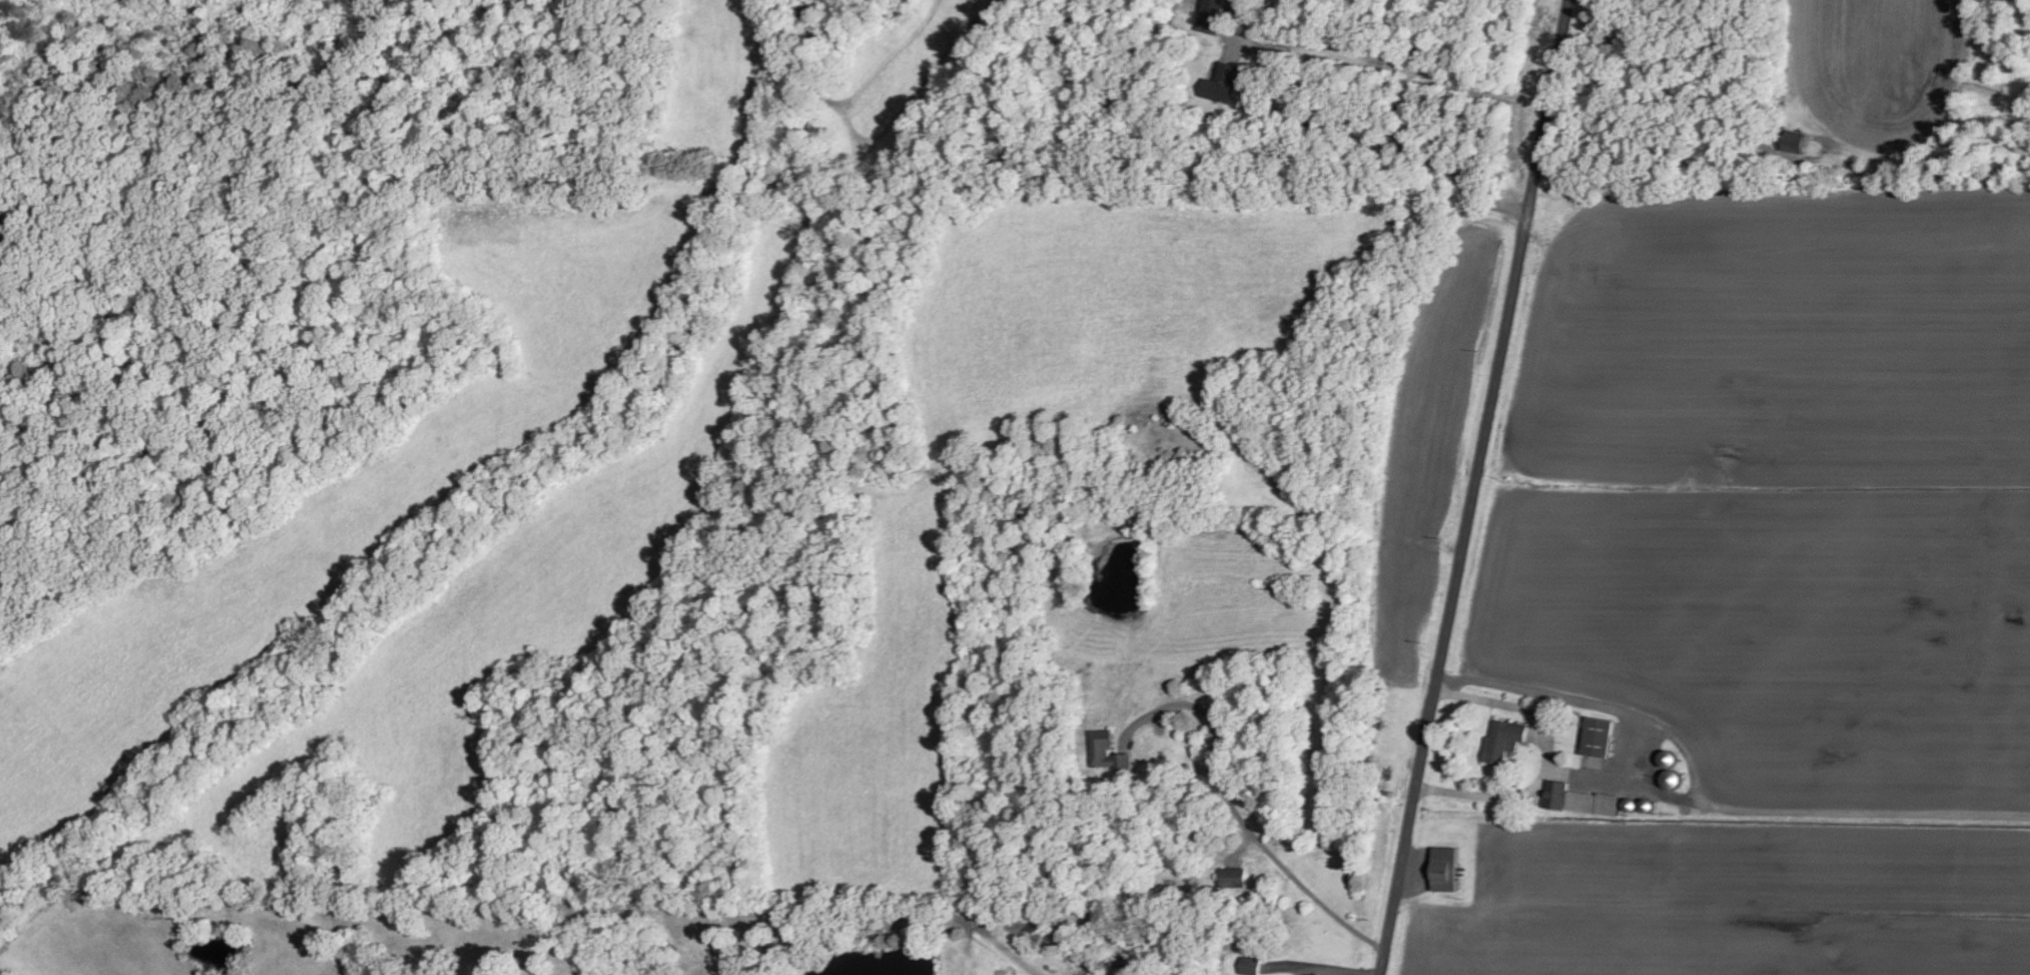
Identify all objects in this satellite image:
building: (1214, 16)
building: (1227, 83)
building: (1805, 143)
road: (1476, 487)
building: (1110, 734)
building: (1604, 736)
building: (1507, 739)
building: (1121, 762)
building: (1584, 799)
building: (1451, 869)
building: (1237, 877)
building: (1252, 966)

